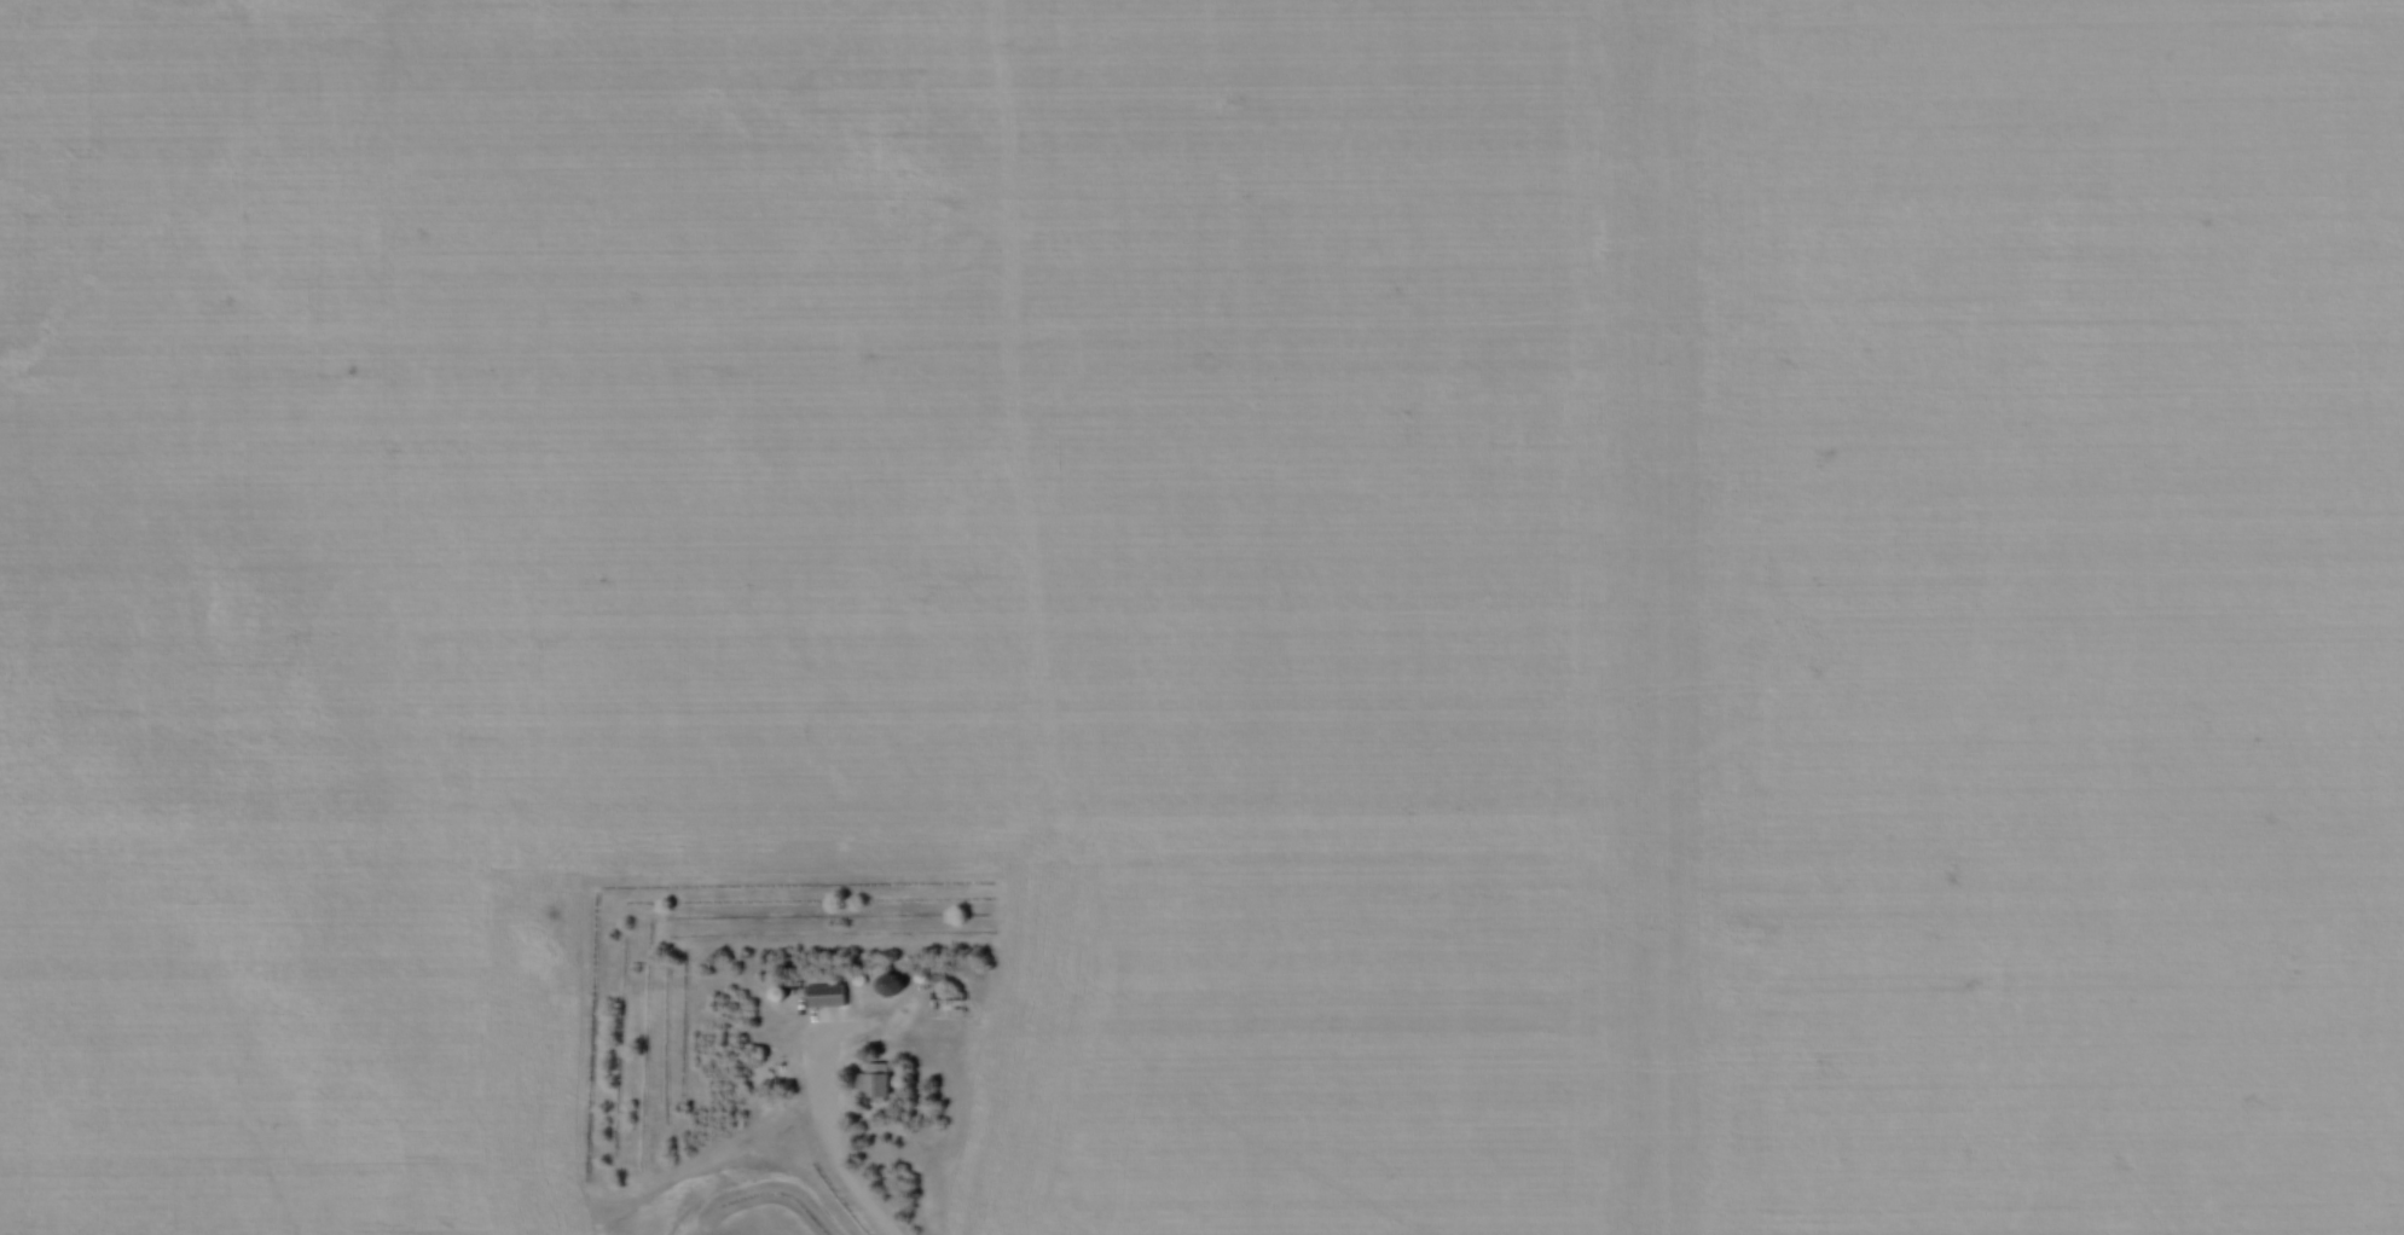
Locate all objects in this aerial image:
building: (891, 984)
building: (827, 996)
building: (946, 1004)
building: (875, 1082)
road: (833, 1143)

